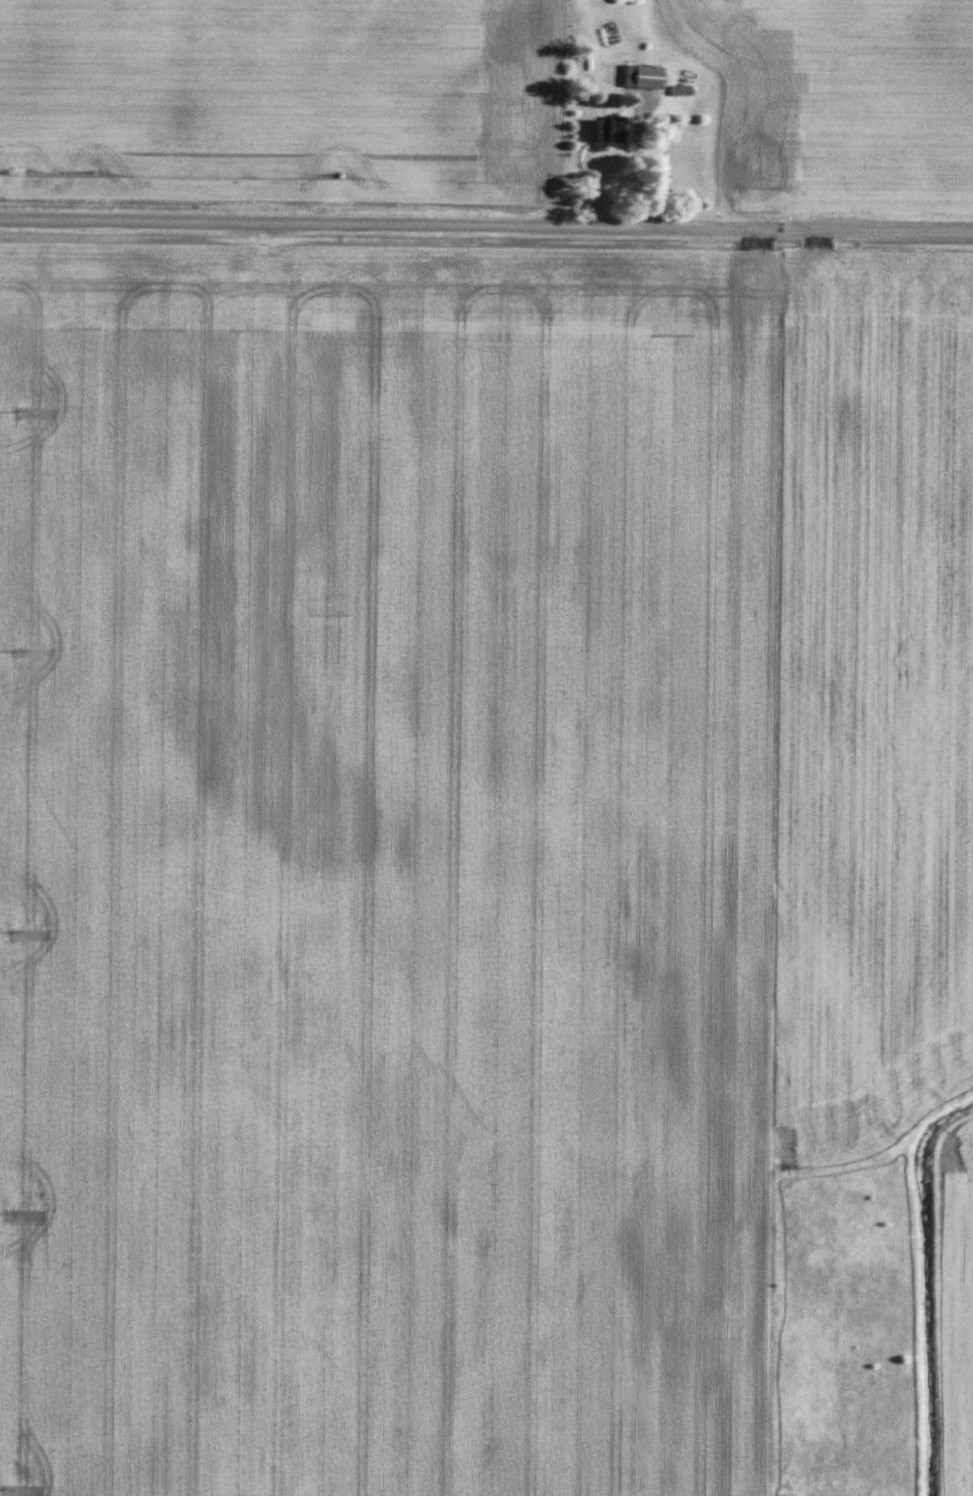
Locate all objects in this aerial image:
building: (640, 78)
building: (607, 131)
road: (486, 225)

